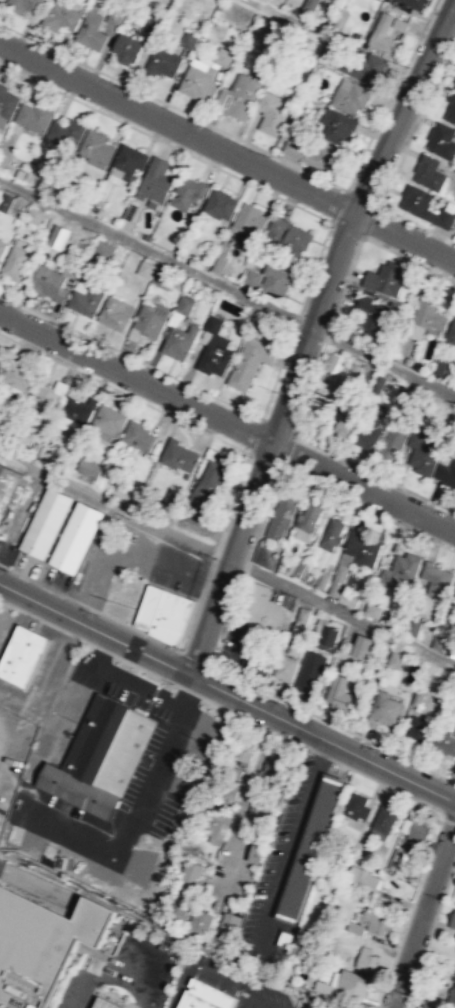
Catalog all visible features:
building: (0, 0)
building: (414, 3)
building: (309, 4)
building: (24, 5)
road: (279, 14)
building: (61, 16)
building: (114, 17)
building: (153, 23)
building: (399, 24)
building: (92, 30)
building: (381, 33)
building: (188, 40)
building: (127, 48)
building: (221, 57)
street lamp: (65, 58)
building: (161, 63)
building: (361, 66)
street lamp: (405, 68)
building: (197, 81)
building: (454, 85)
building: (242, 97)
building: (351, 97)
building: (220, 98)
building: (7, 101)
building: (450, 108)
building: (271, 113)
building: (35, 115)
road: (415, 122)
street lamp: (205, 124)
building: (335, 125)
building: (66, 130)
building: (442, 140)
road: (164, 142)
building: (97, 145)
building: (292, 145)
road: (267, 151)
road: (227, 153)
building: (322, 157)
building: (129, 161)
road: (380, 162)
building: (428, 172)
building: (157, 179)
street lamp: (337, 189)
building: (188, 191)
road: (360, 196)
building: (5, 201)
building: (219, 202)
road: (337, 205)
building: (424, 206)
building: (35, 214)
road: (369, 220)
road: (416, 222)
building: (247, 224)
building: (276, 225)
road: (345, 229)
building: (58, 235)
building: (295, 240)
building: (2, 246)
road: (148, 248)
building: (102, 253)
building: (15, 262)
building: (218, 262)
building: (146, 269)
road: (312, 270)
building: (164, 277)
building: (251, 277)
building: (384, 278)
building: (50, 282)
building: (274, 282)
road: (166, 295)
building: (86, 300)
building: (184, 304)
building: (114, 313)
building: (372, 313)
building: (428, 315)
building: (150, 320)
road: (304, 322)
building: (451, 331)
street lamp: (294, 332)
road: (327, 334)
building: (180, 340)
building: (213, 349)
road: (129, 355)
building: (2, 361)
building: (249, 361)
building: (330, 361)
road: (383, 361)
building: (444, 367)
road: (278, 368)
building: (353, 372)
building: (18, 375)
road: (136, 379)
building: (377, 383)
road: (291, 385)
building: (404, 396)
building: (45, 397)
building: (320, 404)
building: (77, 411)
road: (167, 413)
building: (109, 419)
building: (346, 419)
road: (276, 425)
road: (254, 435)
building: (368, 435)
building: (138, 436)
building: (392, 443)
road: (286, 449)
street lamp: (246, 453)
building: (421, 453)
building: (178, 455)
road: (264, 459)
building: (89, 467)
building: (446, 473)
building: (211, 474)
building: (7, 486)
road: (363, 488)
building: (199, 495)
building: (169, 497)
road: (367, 509)
building: (280, 517)
building: (308, 517)
building: (45, 522)
building: (331, 533)
building: (75, 536)
building: (361, 547)
street lamp: (214, 556)
parking lot: (134, 559)
road: (228, 559)
road: (232, 559)
building: (297, 568)
building: (400, 569)
street lamp: (6, 570)
road: (206, 571)
building: (337, 579)
building: (436, 579)
road: (148, 580)
building: (321, 580)
road: (50, 587)
building: (453, 601)
road: (13, 605)
building: (263, 609)
building: (372, 609)
building: (163, 613)
street lamp: (96, 614)
building: (302, 615)
road: (42, 620)
road: (93, 630)
road: (70, 634)
building: (327, 634)
building: (442, 635)
road: (88, 642)
road: (163, 642)
building: (292, 646)
building: (362, 646)
road: (103, 649)
street lamp: (182, 649)
building: (27, 655)
road: (195, 657)
building: (394, 658)
road: (95, 659)
road: (212, 660)
building: (285, 666)
road: (145, 669)
building: (308, 672)
road: (146, 677)
road: (138, 684)
road: (188, 690)
road: (189, 692)
building: (340, 693)
building: (418, 697)
road: (150, 698)
street lamp: (282, 703)
building: (384, 708)
road: (254, 722)
building: (417, 728)
building: (454, 731)
road: (321, 737)
building: (444, 741)
street lamp: (378, 748)
building: (243, 749)
road: (319, 753)
building: (104, 756)
building: (275, 763)
road: (423, 767)
building: (232, 771)
road: (388, 786)
building: (226, 789)
road: (242, 800)
building: (355, 807)
building: (258, 811)
road: (448, 820)
building: (382, 823)
building: (214, 827)
building: (413, 832)
building: (309, 849)
building: (256, 853)
building: (187, 875)
building: (364, 883)
road: (38, 885)
building: (454, 885)
building: (176, 907)
road: (409, 912)
road: (421, 915)
building: (199, 921)
building: (451, 921)
building: (373, 922)
building: (227, 927)
road: (429, 934)
building: (285, 938)
building: (45, 945)
building: (364, 959)
road: (108, 968)
building: (345, 986)
building: (203, 996)
building: (451, 997)
road: (262, 1000)
building: (110, 1003)
gas station: (110, 1003)
building: (422, 1006)

